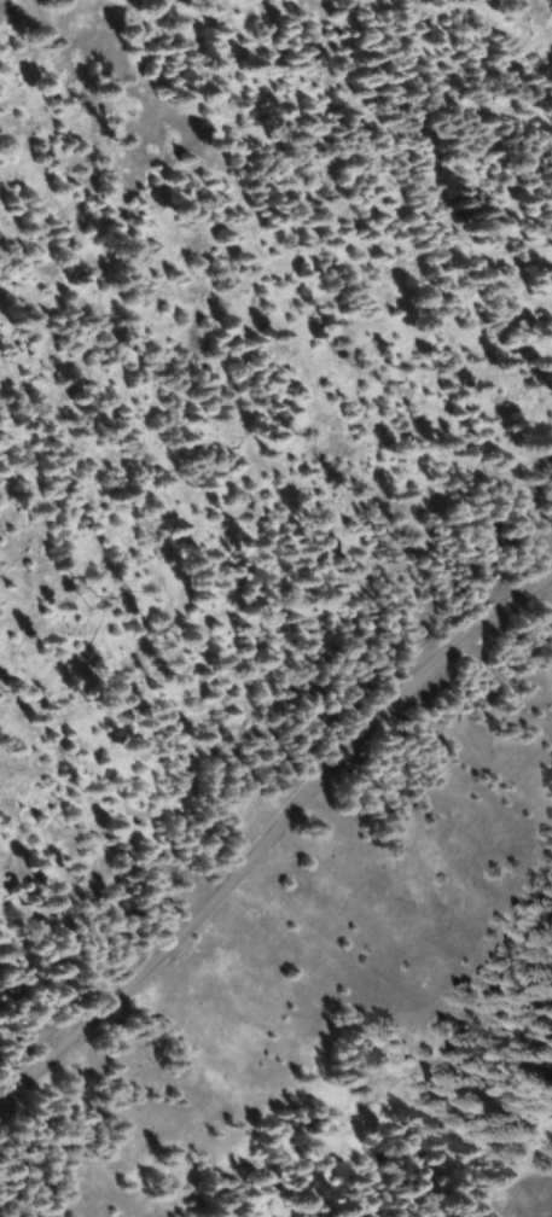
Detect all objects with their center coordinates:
road: (295, 959)

